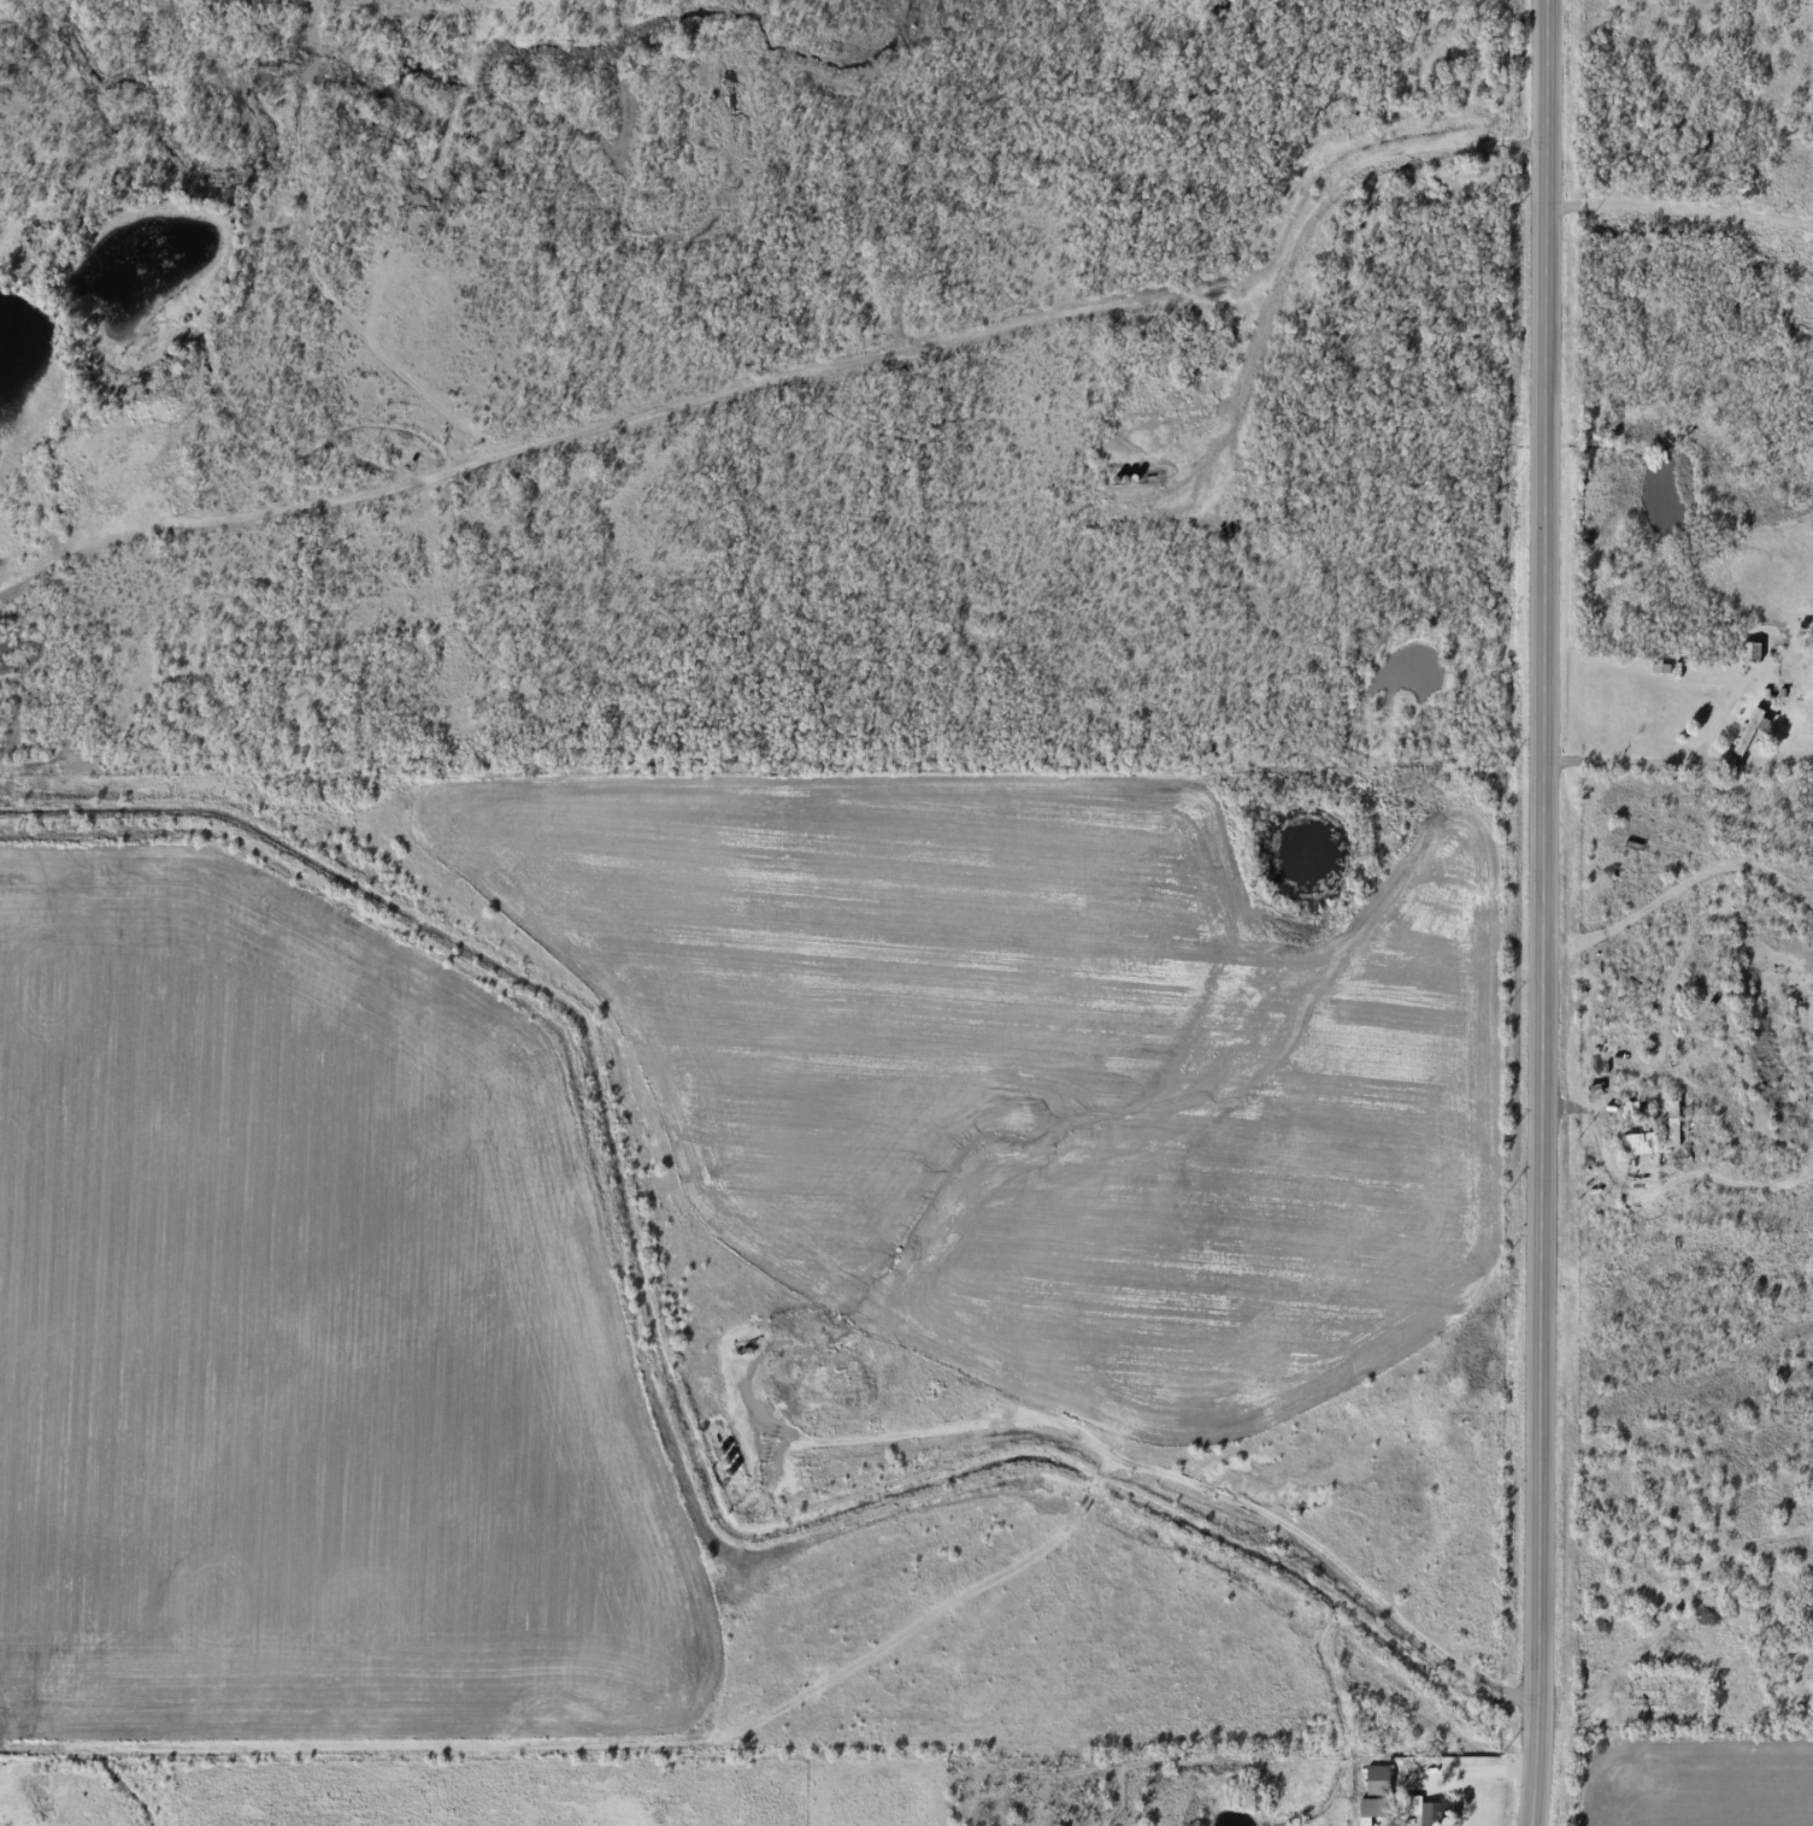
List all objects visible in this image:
building: (1750, 730)
road: (1542, 913)
building: (1672, 1124)
building: (1627, 1125)
building: (1375, 1795)
building: (1426, 1810)

